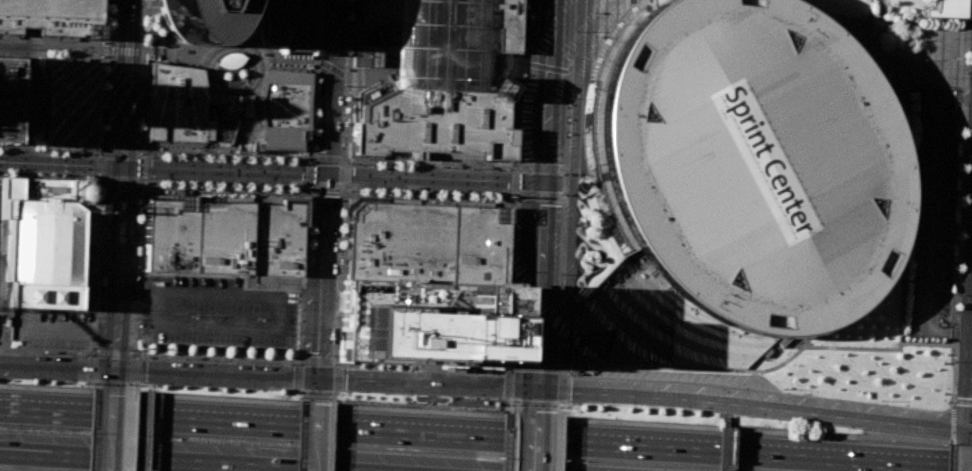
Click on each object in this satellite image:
road: (141, 2)
building: (654, 2)
street lamp: (348, 7)
building: (944, 9)
road: (965, 9)
street lamp: (592, 12)
street lamp: (143, 14)
building: (51, 17)
street lamp: (318, 17)
building: (191, 18)
street lamp: (968, 20)
road: (143, 22)
building: (494, 25)
building: (289, 26)
street lamp: (524, 26)
building: (378, 30)
street lamp: (576, 30)
road: (314, 32)
road: (885, 32)
street lamp: (868, 34)
street lamp: (592, 36)
road: (27, 37)
street lamp: (947, 37)
road: (142, 38)
street lamp: (101, 42)
street lamp: (317, 43)
road: (600, 44)
road: (13, 47)
road: (231, 47)
street lamp: (346, 47)
road: (68, 48)
road: (124, 51)
road: (145, 51)
road: (97, 53)
street lamp: (101, 56)
road: (495, 56)
street lamp: (888, 57)
road: (909, 57)
road: (26, 58)
street lamp: (921, 58)
street lamp: (143, 60)
road: (151, 60)
road: (518, 60)
road: (437, 62)
road: (40, 63)
road: (547, 67)
road: (331, 68)
road: (146, 71)
road: (376, 71)
road: (917, 72)
street lamp: (966, 72)
street lamp: (106, 75)
road: (347, 76)
road: (99, 77)
road: (102, 77)
street lamp: (946, 77)
street lamp: (140, 78)
road: (357, 78)
road: (502, 78)
street lamp: (25, 79)
road: (229, 83)
road: (347, 84)
street lamp: (346, 85)
street lamp: (904, 85)
street lamp: (316, 88)
road: (422, 88)
road: (514, 88)
road: (358, 91)
road: (366, 91)
building: (1, 92)
road: (6, 95)
road: (45, 97)
street lamp: (521, 97)
street lamp: (568, 97)
road: (250, 100)
road: (16, 101)
road: (33, 102)
building: (71, 102)
road: (359, 103)
road: (184, 108)
building: (185, 109)
road: (311, 109)
building: (283, 110)
road: (283, 110)
street lamp: (898, 117)
street lamp: (140, 119)
street lamp: (314, 119)
street lamp: (105, 120)
building: (435, 122)
street lamp: (24, 123)
street lamp: (343, 123)
road: (139, 125)
street lamp: (964, 126)
street lamp: (901, 129)
street lamp: (905, 142)
street lamp: (13, 143)
street lamp: (33, 144)
road: (23, 147)
street lamp: (138, 147)
road: (6, 148)
road: (48, 148)
street lamp: (2, 149)
street lamp: (44, 151)
road: (101, 151)
road: (152, 151)
street lamp: (963, 151)
street lamp: (69, 152)
road: (121, 152)
road: (245, 152)
building: (391, 152)
road: (140, 153)
road: (573, 153)
street lamp: (94, 155)
road: (141, 155)
road: (163, 155)
building: (462, 155)
street lamp: (2, 156)
street lamp: (171, 156)
road: (178, 156)
road: (190, 156)
street lamp: (198, 157)
road: (205, 157)
road: (217, 157)
street lamp: (226, 158)
road: (232, 158)
road: (248, 158)
street lamp: (43, 159)
street lamp: (69, 159)
road: (263, 159)
road: (275, 159)
street lamp: (256, 160)
street lamp: (284, 160)
road: (289, 160)
road: (345, 160)
road: (510, 160)
street lamp: (908, 160)
street lamp: (304, 161)
road: (340, 161)
street lamp: (519, 161)
road: (483, 162)
building: (751, 162)
stadium: (751, 162)
street lamp: (2, 163)
street lamp: (350, 163)
road: (434, 163)
road: (59, 164)
road: (100, 164)
street lamp: (171, 164)
street lamp: (198, 164)
road: (430, 164)
street lamp: (43, 165)
street lamp: (387, 165)
street lamp: (68, 166)
traffic signals: (119, 166)
road: (142, 166)
street lamp: (225, 166)
street lamp: (413, 166)
street lamp: (256, 167)
street lamp: (448, 167)
street lamp: (283, 168)
street lamp: (478, 168)
road: (539, 168)
road: (515, 169)
road: (568, 169)
street lamp: (1, 171)
street lamp: (171, 171)
street lamp: (198, 172)
road: (310, 172)
street lamp: (910, 172)
street lamp: (43, 173)
street lamp: (225, 173)
street lamp: (386, 173)
street lamp: (413, 173)
street lamp: (564, 173)
street lamp: (68, 174)
traffic signals: (326, 174)
road: (330, 174)
street lamp: (447, 174)
street lamp: (256, 175)
street lamp: (283, 175)
road: (50, 176)
street lamp: (478, 176)
street lamp: (148, 177)
road: (142, 178)
road: (104, 179)
road: (122, 180)
street lamp: (386, 180)
road: (514, 180)
road: (139, 181)
street lamp: (412, 181)
street lamp: (447, 182)
road: (921, 182)
street lamp: (962, 182)
street lamp: (170, 183)
street lamp: (477, 183)
traffic signals: (541, 183)
street lamp: (197, 184)
road: (142, 185)
street lamp: (224, 185)
street lamp: (255, 186)
road: (311, 186)
street lamp: (282, 187)
road: (326, 187)
street lamp: (303, 188)
road: (341, 188)
road: (141, 189)
road: (326, 189)
street lamp: (351, 190)
street lamp: (385, 190)
street lamp: (412, 192)
road: (910, 192)
road: (513, 193)
street lamp: (911, 193)
railway: (113, 194)
road: (118, 194)
street lamp: (446, 194)
street lamp: (563, 194)
railway: (129, 195)
road: (427, 195)
street lamp: (477, 195)
road: (516, 196)
road: (540, 196)
road: (567, 197)
street lamp: (517, 201)
street lamp: (311, 203)
road: (539, 206)
street lamp: (910, 206)
road: (338, 208)
street lamp: (137, 209)
road: (958, 213)
parking lot: (936, 216)
road: (933, 218)
street lamp: (100, 219)
street lamp: (909, 219)
road: (957, 220)
street lamp: (960, 220)
railway: (137, 224)
road: (304, 229)
street lamp: (340, 233)
street lamp: (906, 234)
building: (222, 237)
road: (342, 238)
building: (48, 242)
building: (428, 242)
railway: (108, 252)
street lamp: (900, 254)
street lamp: (959, 257)
street lamp: (309, 258)
street lamp: (339, 261)
road: (96, 263)
street lamp: (98, 264)
street lamp: (899, 267)
street lamp: (513, 271)
street lamp: (560, 273)
street lamp: (899, 281)
road: (510, 282)
road: (583, 287)
street lamp: (898, 294)
street lamp: (958, 294)
road: (512, 295)
street lamp: (300, 300)
road: (521, 302)
street lamp: (898, 307)
road: (105, 308)
road: (520, 308)
building: (220, 313)
street lamp: (45, 317)
street lamp: (96, 317)
street lamp: (336, 317)
road: (595, 317)
street lamp: (133, 318)
street lamp: (897, 320)
building: (422, 321)
parking lot: (50, 327)
road: (66, 328)
street lamp: (299, 333)
street lamp: (896, 333)
road: (566, 336)
building: (710, 340)
street lamp: (817, 344)
street lamp: (830, 344)
road: (925, 344)
street lamp: (844, 345)
street lamp: (857, 345)
street lamp: (870, 345)
street lamp: (901, 345)
street lamp: (883, 346)
road: (893, 346)
street lamp: (914, 346)
street lamp: (928, 346)
street lamp: (93, 347)
street lamp: (941, 347)
street lamp: (133, 349)
road: (46, 350)
street lamp: (42, 352)
road: (16, 353)
road: (299, 353)
road: (112, 354)
street lamp: (85, 355)
road: (91, 355)
street lamp: (335, 355)
street lamp: (185, 358)
street lamp: (214, 360)
street lamp: (507, 360)
street lamp: (250, 361)
road: (297, 361)
road: (317, 361)
road: (338, 361)
street lamp: (955, 361)
road: (336, 362)
street lamp: (563, 362)
street lamp: (292, 363)
road: (444, 363)
road: (337, 364)
road: (510, 365)
road: (536, 366)
road: (563, 366)
road: (56, 367)
road: (507, 367)
street lamp: (385, 368)
street lamp: (408, 368)
road: (564, 369)
traffic signals: (113, 370)
street lamp: (471, 371)
road: (90, 372)
road: (129, 372)
road: (297, 376)
traffic signals: (318, 378)
road: (336, 378)
street lamp: (44, 381)
street lamp: (84, 383)
road: (507, 383)
street lamp: (128, 384)
street lamp: (140, 384)
road: (109, 385)
street lamp: (180, 386)
road: (562, 386)
traffic signals: (535, 387)
road: (543, 387)
street lamp: (248, 389)
road: (318, 389)
street lamp: (782, 389)
road: (292, 390)
street lamp: (291, 391)
road: (302, 391)
street lamp: (340, 392)
street lamp: (384, 393)
road: (304, 395)
road: (317, 395)
road: (330, 395)
road: (332, 395)
street lamp: (374, 396)
street lamp: (299, 397)
street lamp: (456, 397)
road: (510, 397)
street lamp: (336, 399)
road: (506, 399)
street lamp: (881, 400)
street lamp: (949, 400)
road: (509, 402)
road: (561, 402)
road: (534, 403)
road: (581, 403)
road: (558, 404)
street lamp: (510, 405)
street lamp: (607, 405)
road: (508, 407)
street lamp: (559, 407)
street lamp: (683, 409)
road: (560, 410)
road: (508, 412)
road: (953, 413)
road: (559, 416)
street lamp: (735, 416)
road: (88, 428)
street lamp: (825, 428)
road: (331, 429)
railway: (101, 430)
road: (109, 430)
railway: (116, 430)
road: (126, 430)
road: (301, 435)
road: (301, 435)
road: (485, 435)
road: (316, 436)
road: (330, 436)
road: (507, 441)
road: (533, 442)
road: (558, 443)
road: (951, 457)
road: (145, 461)

